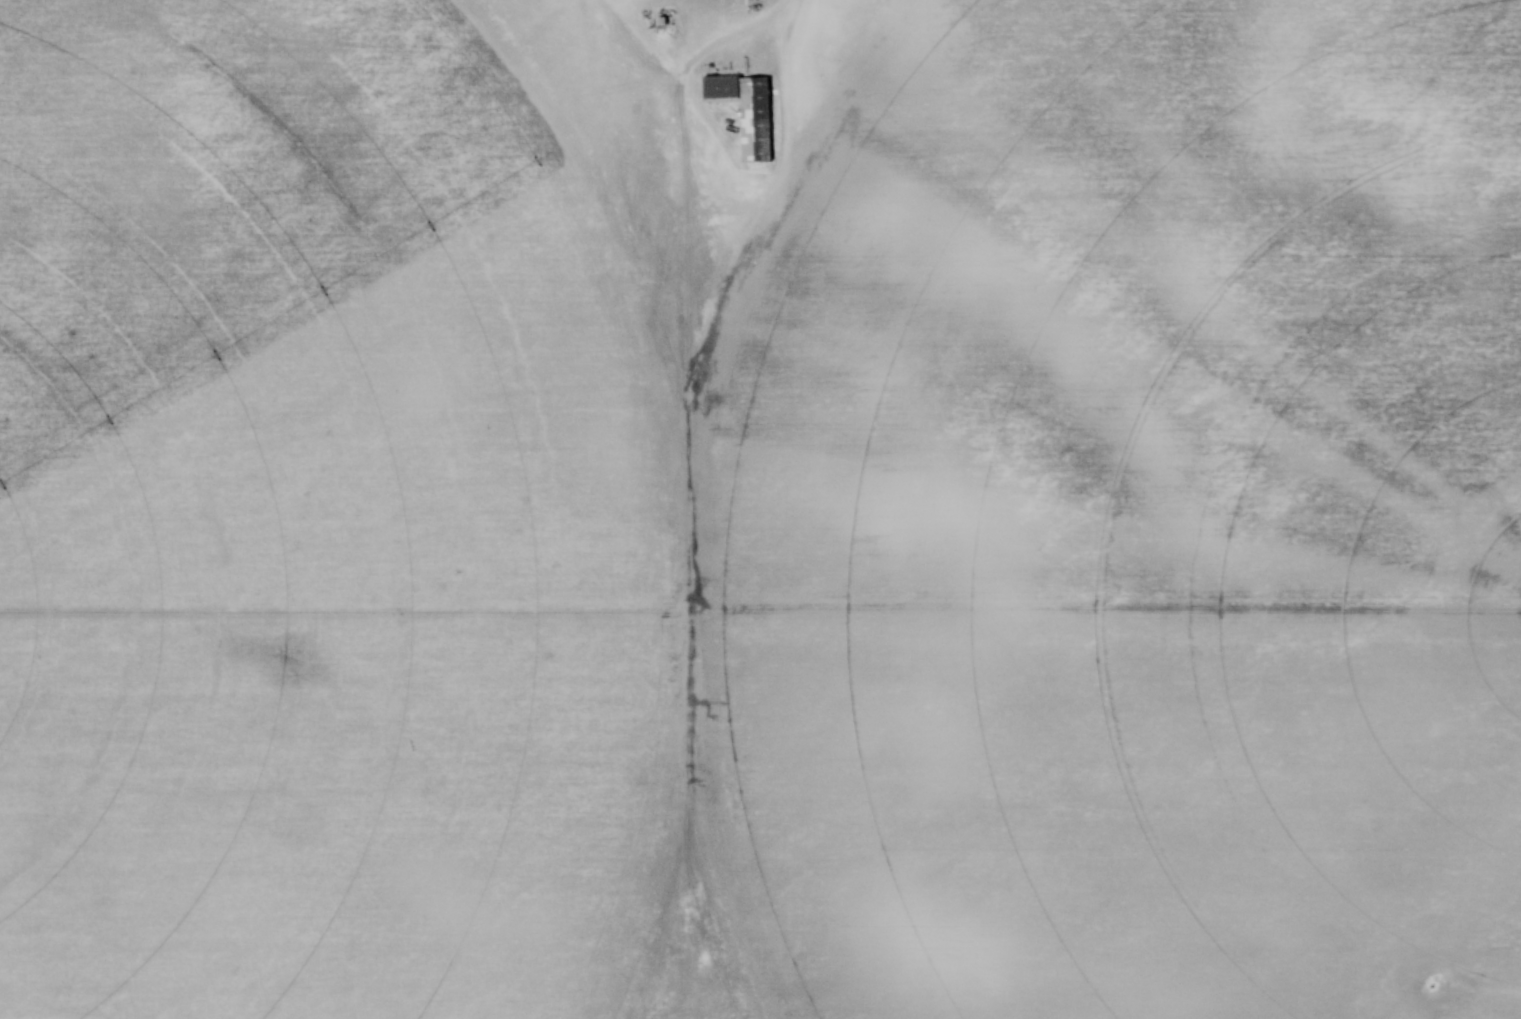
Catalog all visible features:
road: (760, 27)
building: (748, 111)

